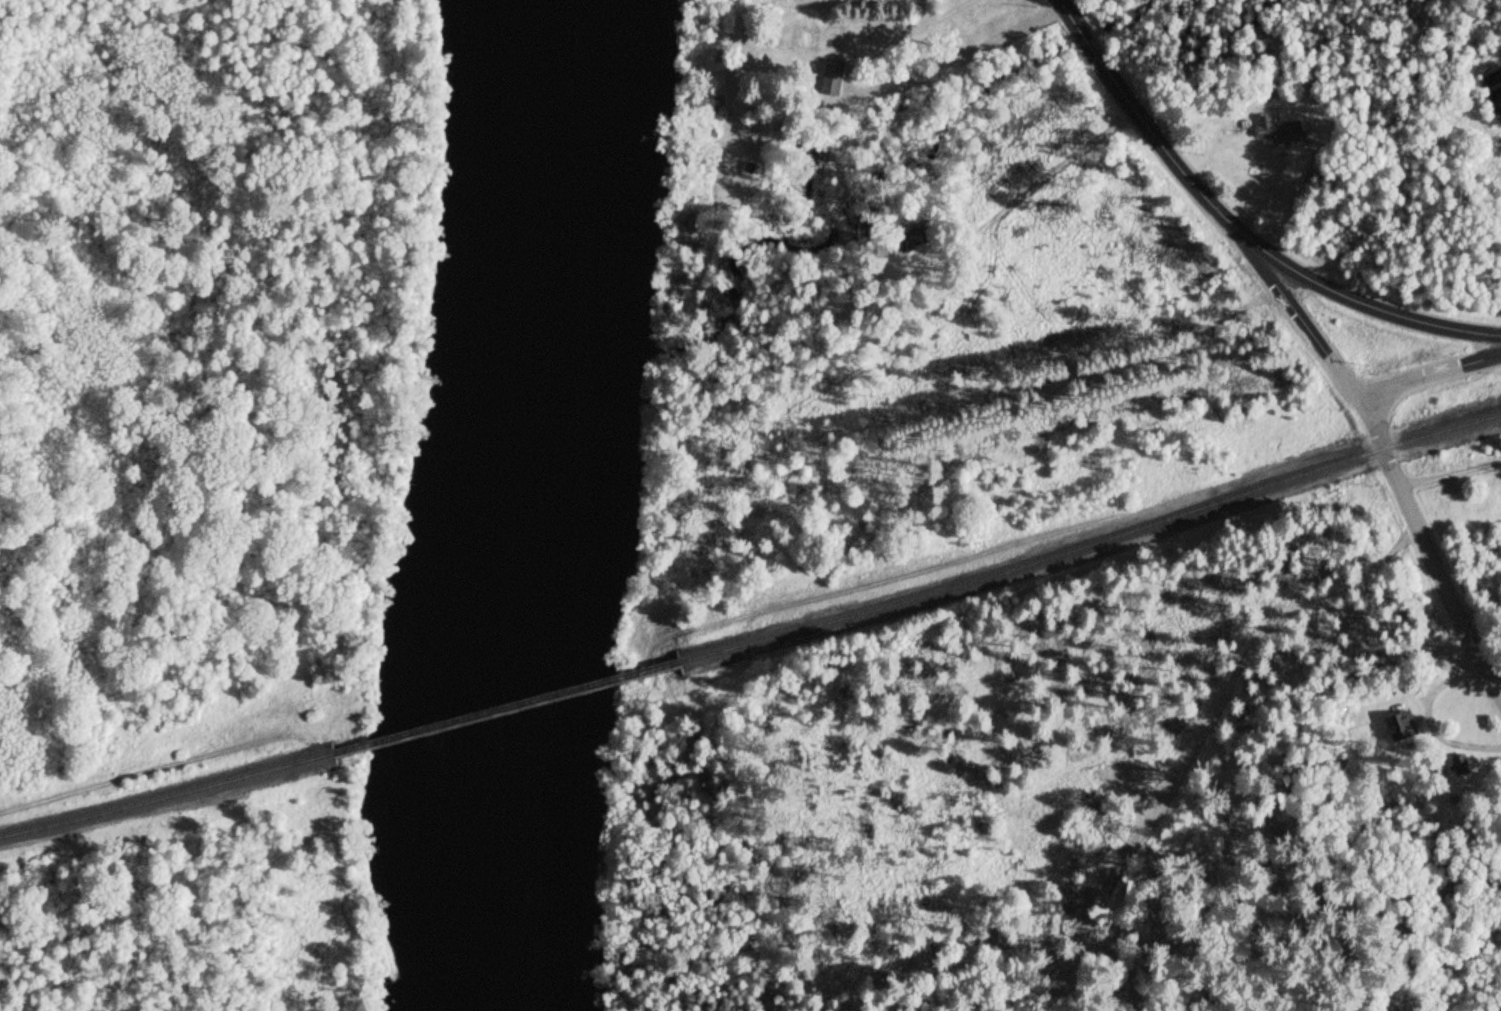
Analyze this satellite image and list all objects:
building: (808, 34)
building: (829, 81)
road: (1145, 128)
building: (1272, 130)
river: (769, 243)
road: (1369, 304)
road: (1306, 323)
road: (1432, 376)
road: (1450, 473)
park: (193, 485)
river: (505, 505)
railway: (1091, 545)
road: (1430, 549)
railway: (506, 708)
building: (1398, 726)
road: (133, 772)
railway: (167, 796)

